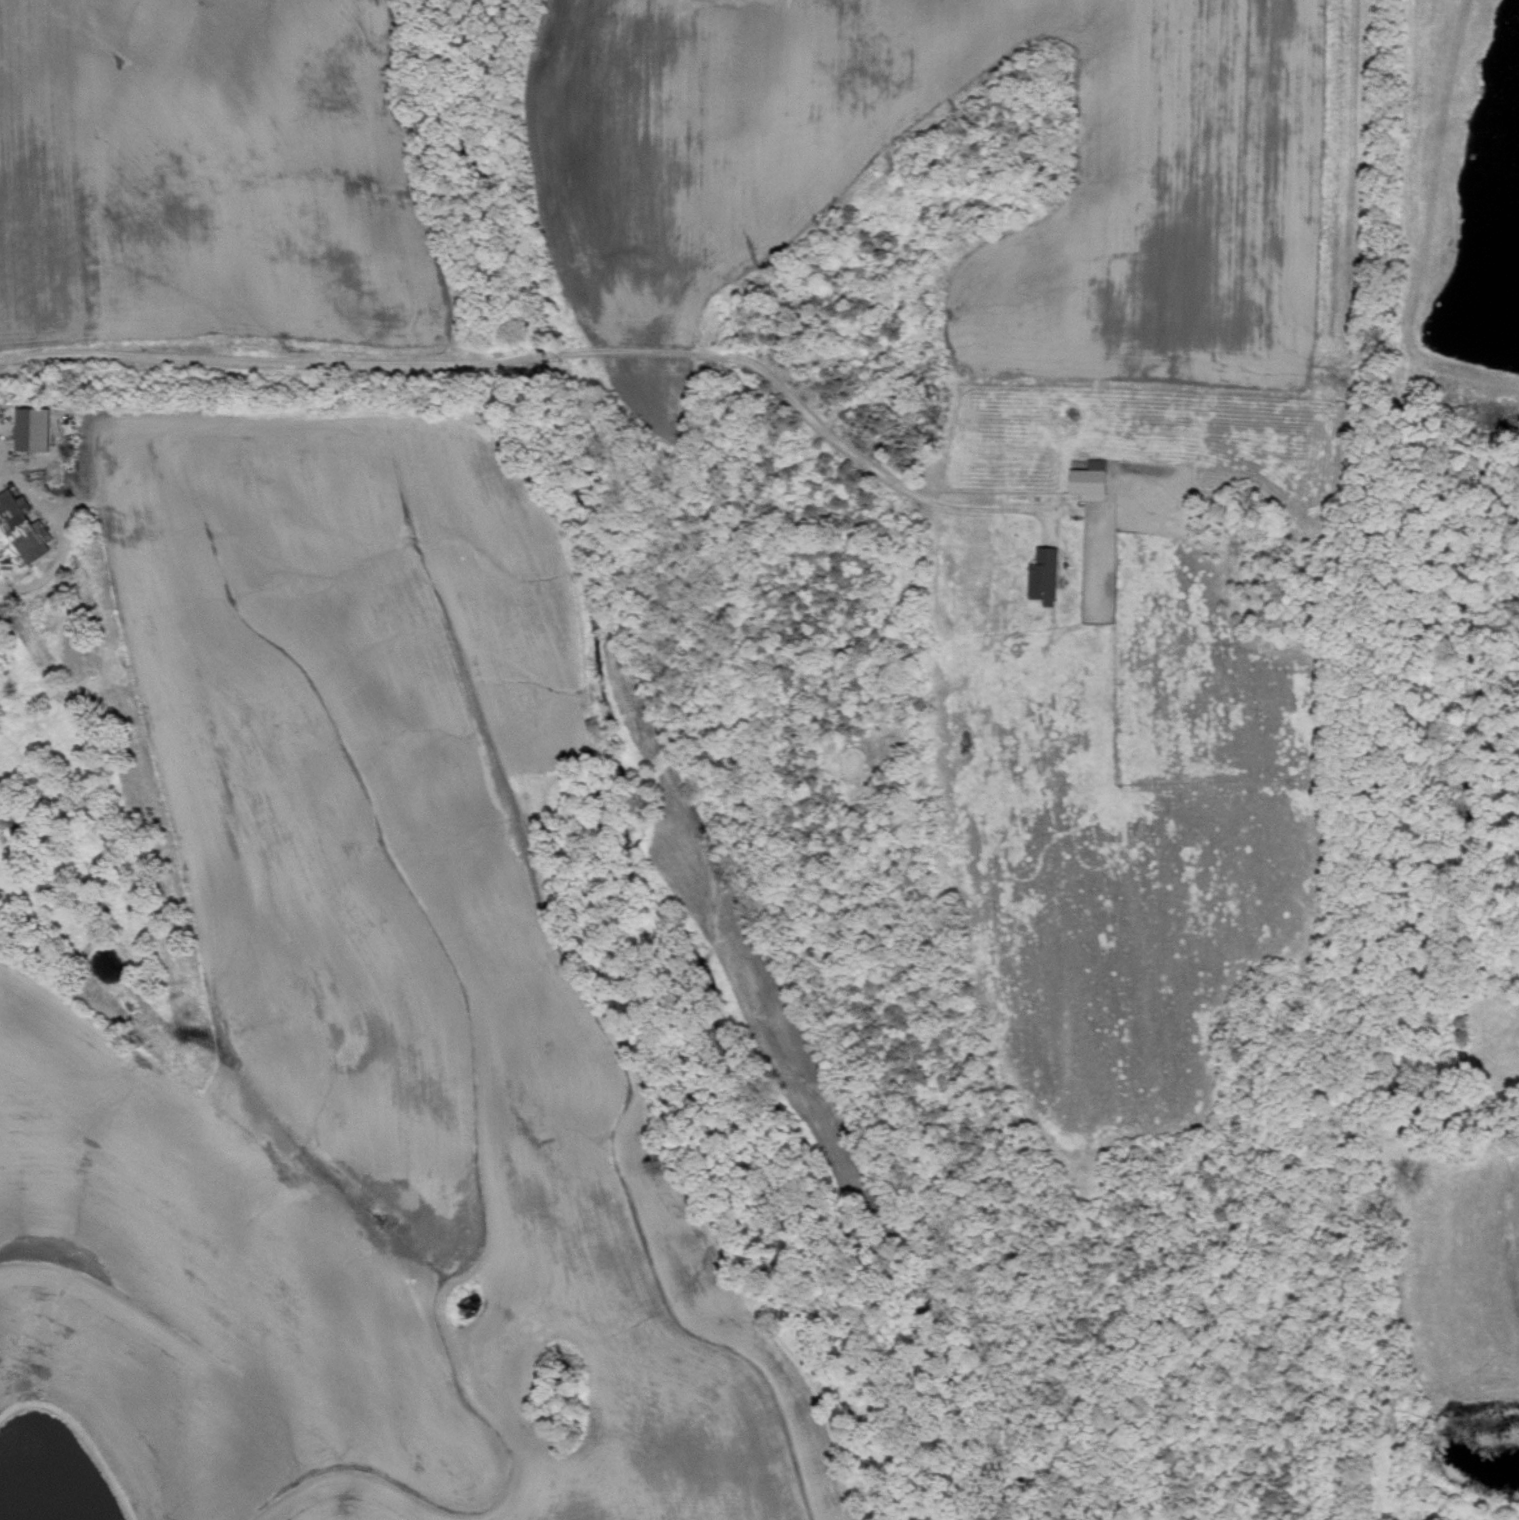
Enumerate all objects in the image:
road: (550, 352)
building: (22, 526)
road: (62, 530)

